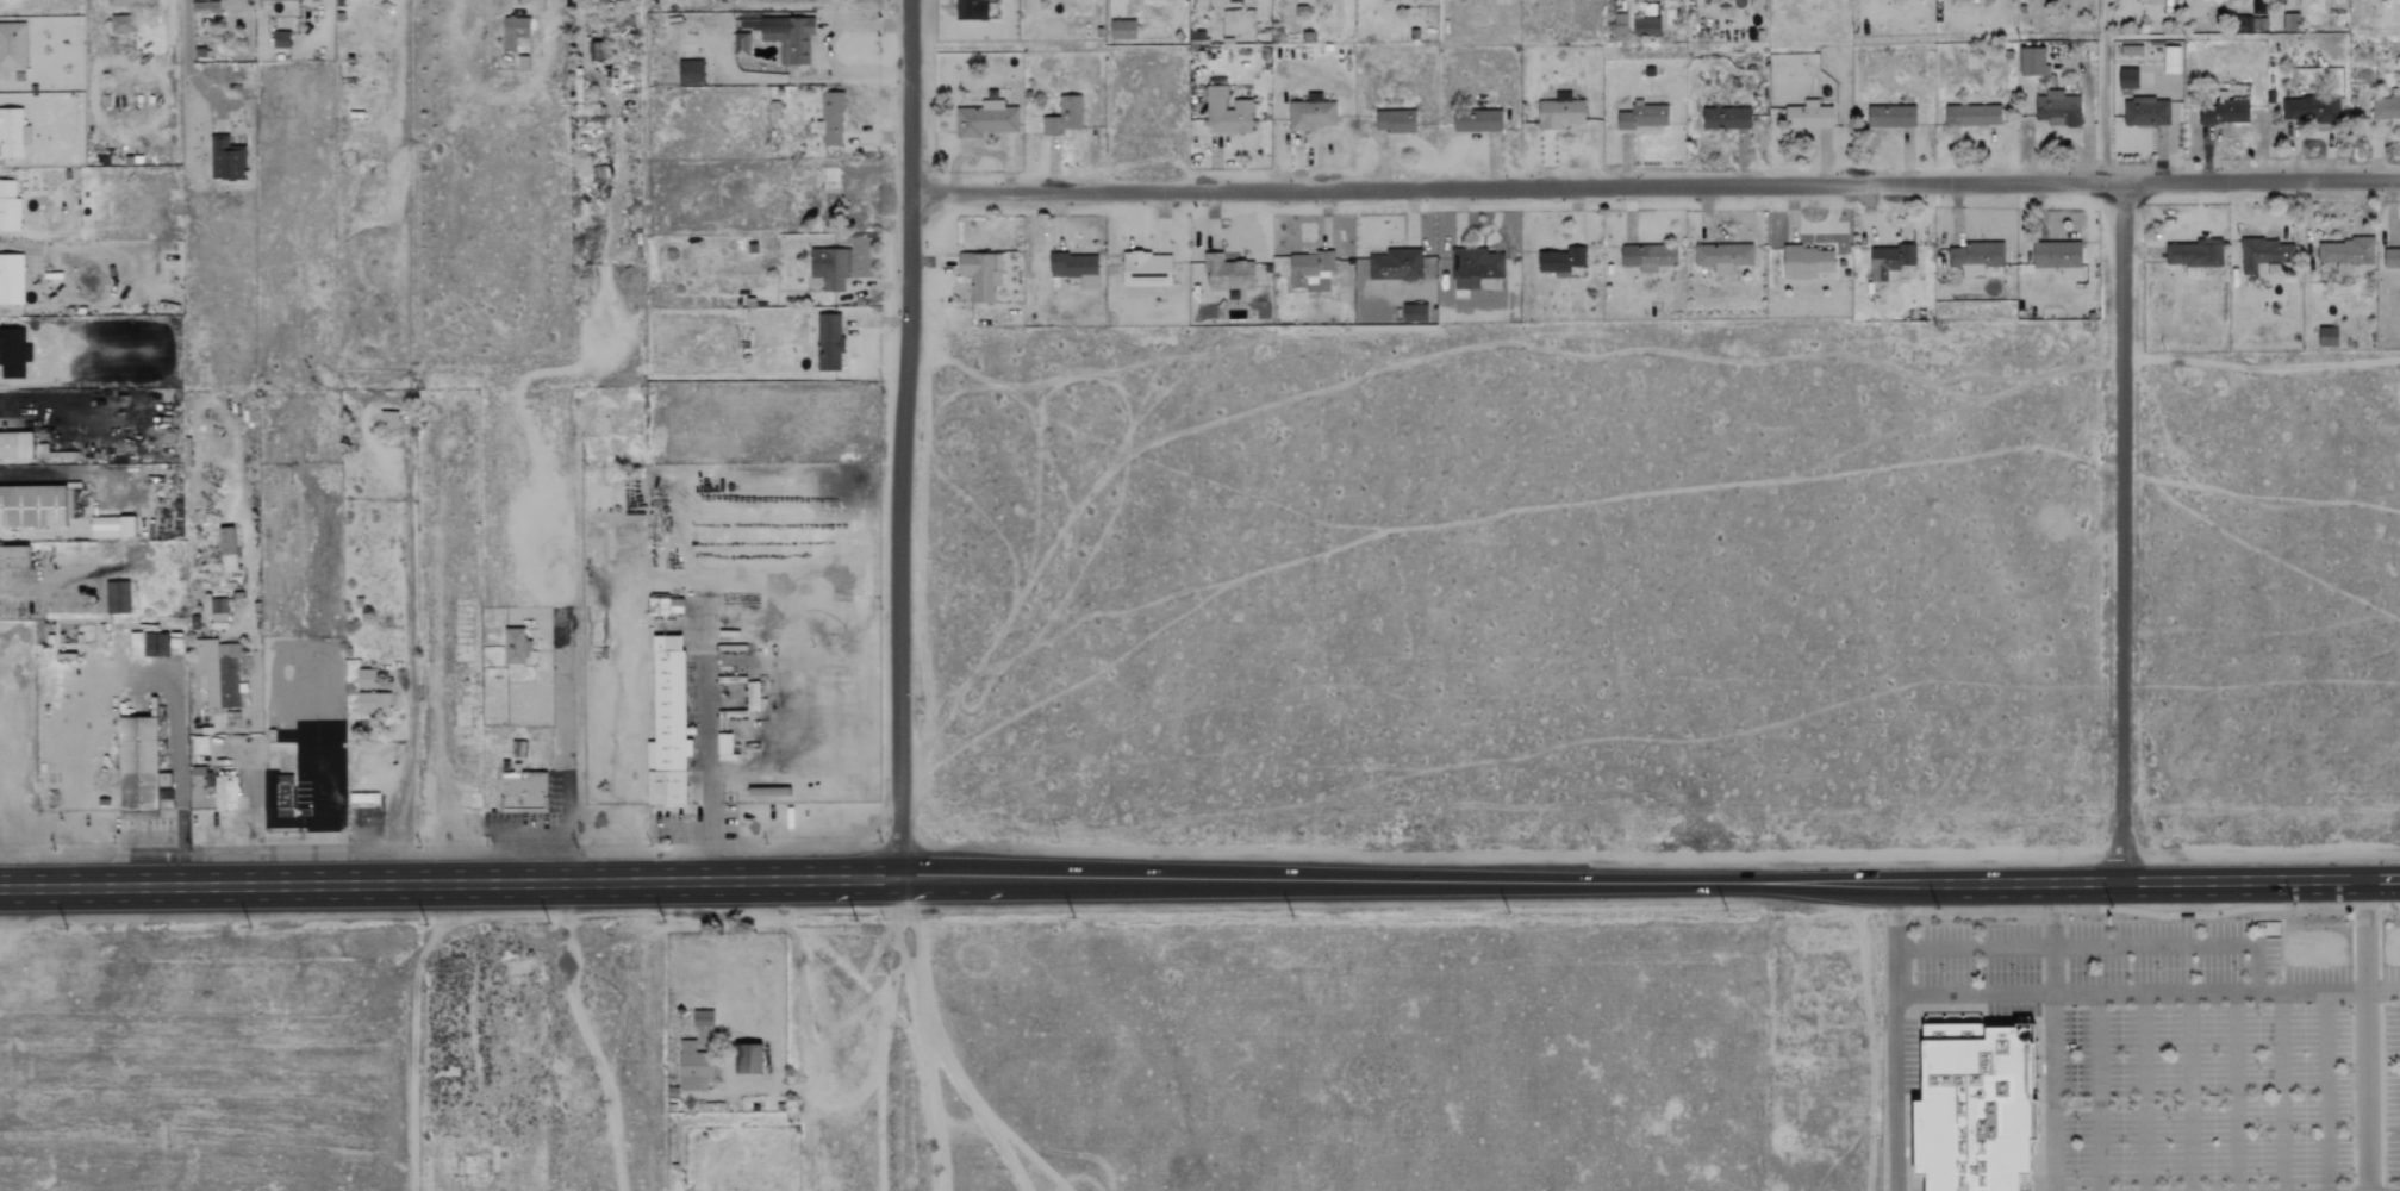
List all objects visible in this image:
building: (8, 0)
building: (285, 0)
building: (2218, 0)
building: (1235, 1)
building: (129, 2)
building: (975, 7)
road: (551, 8)
road: (186, 20)
building: (2289, 21)
building: (120, 24)
building: (1620, 25)
building: (1122, 26)
building: (1645, 26)
building: (515, 27)
building: (788, 35)
building: (280, 36)
building: (741, 42)
building: (12, 45)
building: (2170, 60)
building: (2031, 62)
building: (691, 69)
building: (2127, 79)
road: (195, 80)
building: (2386, 107)
building: (2056, 108)
building: (2309, 108)
building: (2145, 112)
building: (2223, 112)
building: (1226, 113)
building: (1559, 113)
building: (1310, 114)
building: (1808, 116)
building: (1972, 116)
building: (1064, 117)
building: (1642, 117)
building: (1890, 117)
building: (830, 118)
building: (1726, 118)
building: (985, 119)
building: (1394, 120)
building: (1479, 121)
building: (12, 130)
building: (229, 155)
road: (1656, 183)
building: (8, 205)
building: (2345, 252)
building: (2056, 254)
building: (2264, 254)
building: (1722, 255)
building: (2194, 255)
building: (1647, 256)
building: (2392, 256)
building: (1974, 257)
building: (1560, 260)
building: (1806, 261)
building: (1889, 261)
building: (831, 264)
building: (1395, 264)
building: (1475, 266)
building: (1074, 268)
building: (1145, 269)
building: (1309, 269)
building: (979, 275)
building: (1228, 275)
building: (11, 280)
building: (1414, 312)
building: (2326, 336)
building: (829, 339)
building: (13, 349)
building: (387, 419)
road: (903, 439)
building: (17, 444)
building: (33, 506)
building: (111, 526)
road: (2121, 530)
building: (226, 549)
building: (14, 559)
building: (116, 597)
building: (663, 605)
building: (216, 611)
building: (515, 646)
building: (217, 673)
building: (364, 679)
road: (410, 692)
building: (373, 704)
building: (667, 725)
road: (565, 744)
building: (141, 769)
road: (180, 786)
building: (211, 788)
building: (285, 791)
building: (523, 791)
parking lot: (536, 818)
parking lot: (225, 827)
parking lot: (143, 829)
road: (2149, 880)
road: (448, 883)
road: (1397, 883)
road: (2053, 912)
road: (2149, 912)
road: (1896, 939)
road: (1975, 946)
road: (2257, 967)
road: (2053, 969)
road: (2329, 991)
road: (1975, 994)
building: (702, 1018)
road: (2367, 1034)
road: (921, 1035)
parking lot: (2200, 1049)
building: (747, 1059)
building: (694, 1067)
road: (2236, 1091)
road: (2281, 1091)
road: (2326, 1091)
road: (1894, 1092)
road: (2053, 1092)
road: (2097, 1092)
road: (2143, 1092)
road: (2189, 1092)
building: (1975, 1103)

